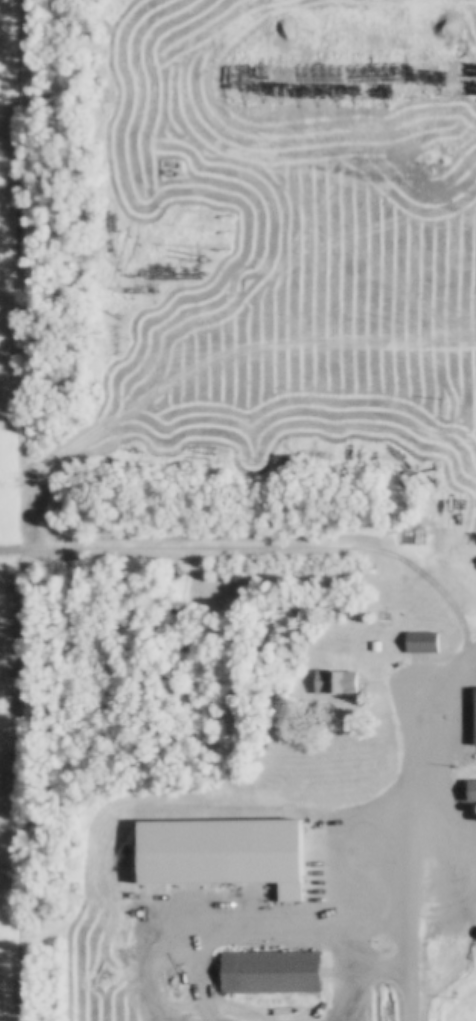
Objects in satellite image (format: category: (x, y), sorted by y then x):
building: (174, 67)
building: (359, 76)
road: (271, 543)
building: (136, 571)
building: (422, 636)
building: (334, 676)
building: (475, 710)
building: (471, 783)
building: (475, 802)
silo: (475, 802)
road: (416, 836)
building: (172, 866)
building: (271, 968)

